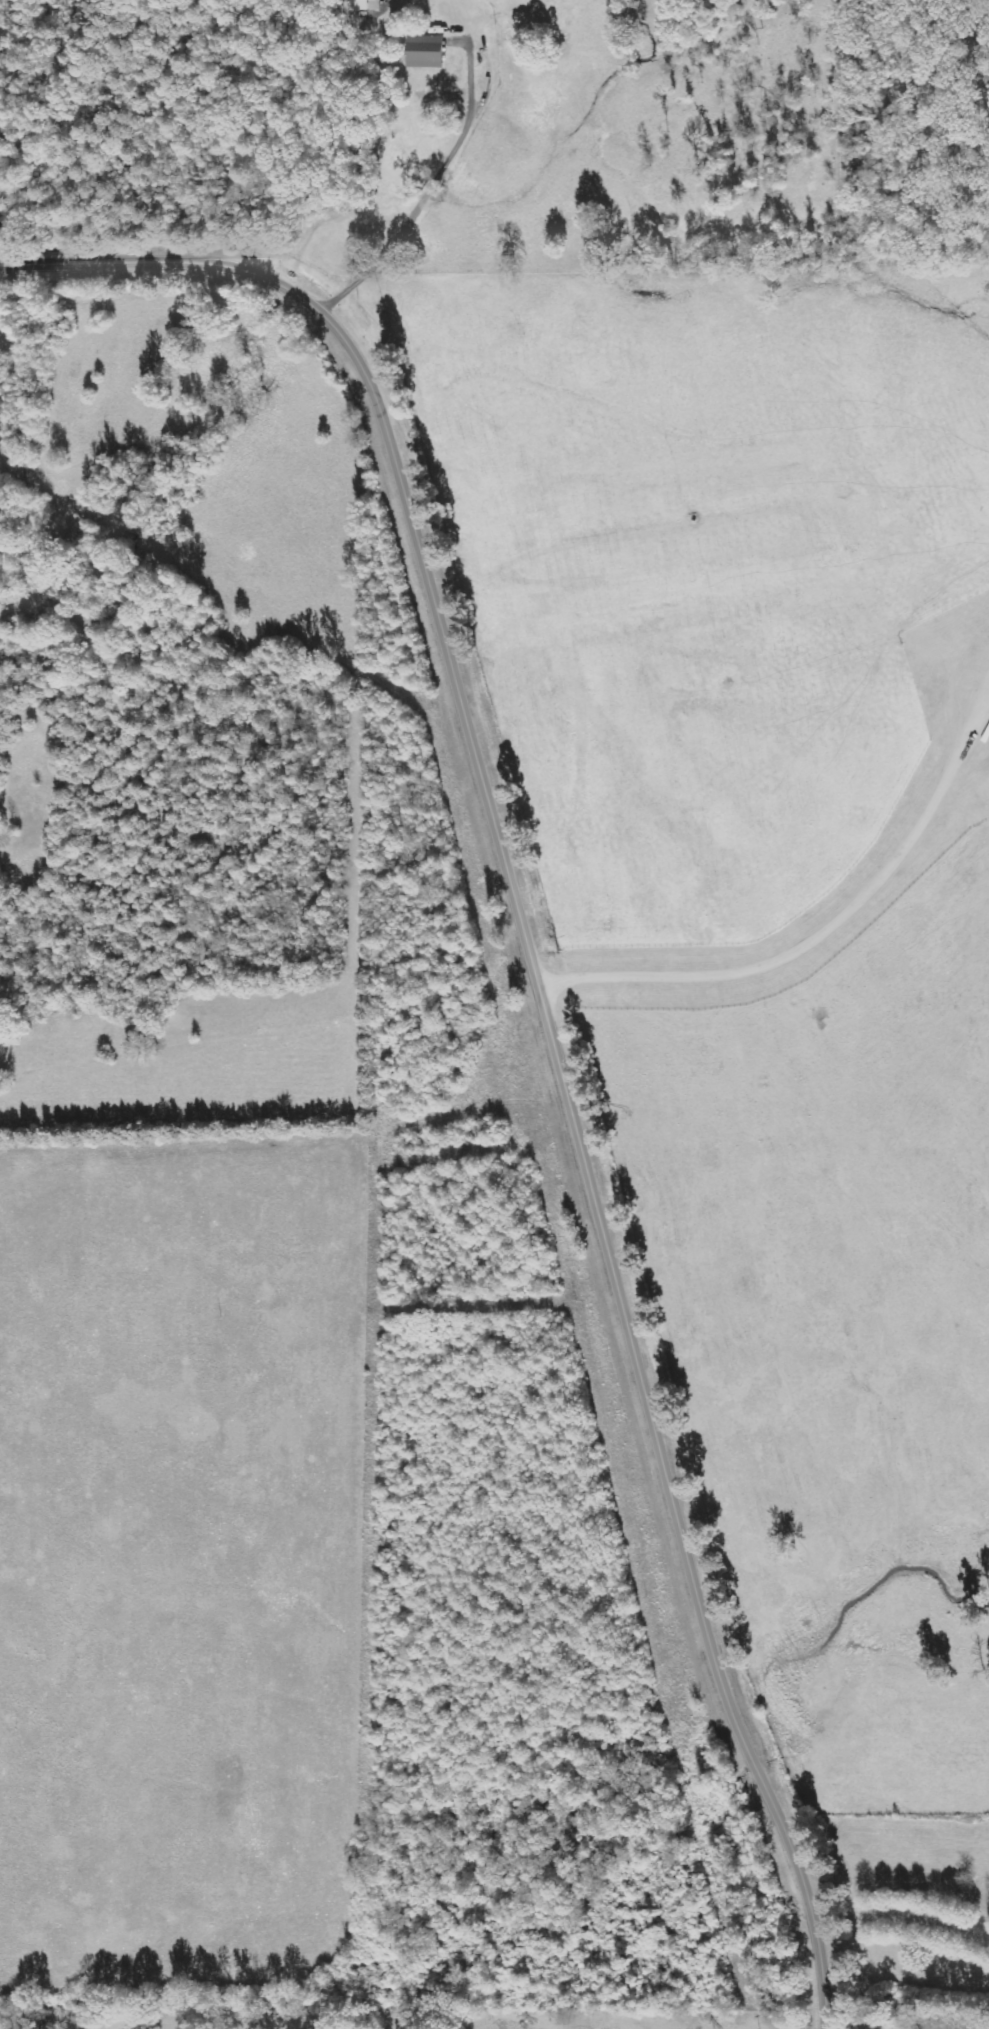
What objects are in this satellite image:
building: (358, 5)
building: (424, 51)
road: (545, 1004)

